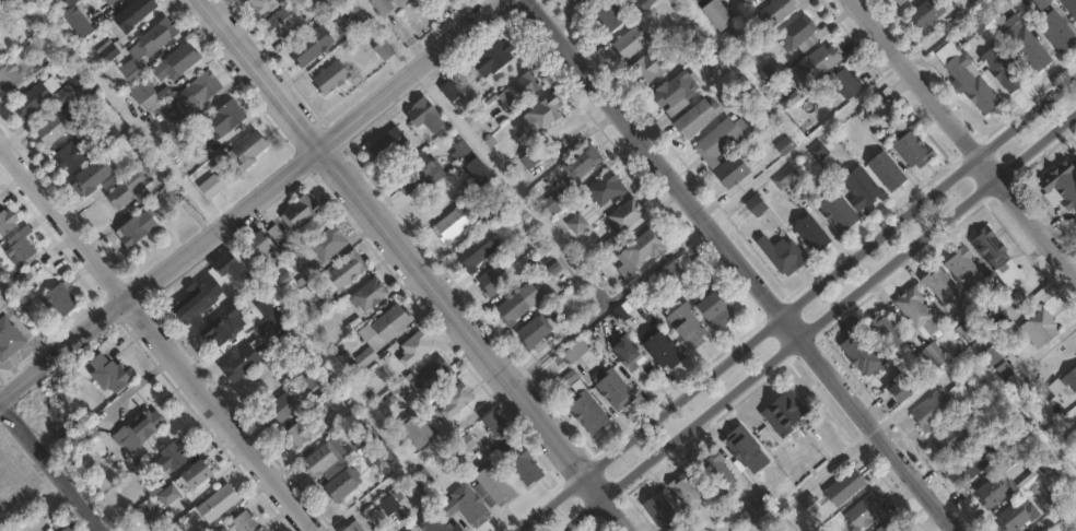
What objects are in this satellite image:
building: (0, 0)
building: (110, 1)
building: (414, 1)
building: (694, 1)
building: (746, 1)
building: (581, 2)
building: (897, 2)
building: (643, 3)
building: (962, 3)
building: (1040, 3)
building: (265, 5)
building: (384, 7)
building: (1069, 8)
building: (773, 12)
building: (924, 13)
building: (15, 14)
building: (131, 15)
building: (712, 15)
building: (606, 16)
building: (78, 20)
building: (286, 20)
building: (736, 31)
building: (1052, 31)
building: (794, 33)
road: (387, 34)
building: (961, 35)
building: (627, 44)
building: (1022, 45)
building: (149, 46)
building: (314, 47)
building: (0, 50)
building: (107, 50)
building: (386, 50)
building: (494, 57)
building: (179, 62)
building: (810, 67)
building: (999, 67)
building: (646, 68)
building: (771, 71)
building: (11, 75)
road: (914, 76)
building: (964, 76)
building: (334, 78)
building: (841, 84)
building: (70, 85)
building: (204, 86)
building: (452, 90)
building: (672, 92)
building: (149, 94)
building: (510, 95)
building: (33, 99)
building: (875, 106)
building: (428, 114)
building: (543, 114)
road: (1027, 114)
building: (226, 116)
building: (692, 119)
building: (180, 121)
building: (54, 126)
building: (717, 140)
building: (908, 144)
building: (390, 145)
building: (782, 145)
building: (249, 147)
building: (461, 147)
road: (1037, 147)
building: (817, 152)
building: (73, 153)
building: (582, 162)
building: (150, 165)
road: (987, 166)
building: (481, 169)
building: (884, 169)
building: (419, 172)
building: (727, 173)
building: (92, 175)
building: (783, 178)
building: (1059, 185)
building: (858, 187)
building: (127, 188)
road: (510, 188)
building: (608, 188)
building: (552, 200)
road: (248, 202)
building: (753, 205)
building: (490, 206)
building: (835, 209)
building: (302, 212)
building: (629, 214)
building: (583, 219)
building: (8, 224)
building: (453, 225)
building: (139, 226)
road: (1037, 226)
building: (809, 233)
road: (394, 236)
building: (266, 239)
building: (611, 244)
building: (324, 245)
building: (23, 246)
building: (480, 248)
building: (643, 249)
building: (780, 253)
building: (994, 256)
building: (530, 261)
building: (232, 265)
road: (739, 265)
building: (346, 270)
building: (962, 270)
building: (675, 272)
building: (494, 279)
building: (940, 287)
building: (371, 294)
building: (62, 300)
building: (198, 303)
building: (519, 303)
building: (913, 309)
building: (718, 310)
building: (623, 311)
building: (272, 312)
road: (780, 314)
building: (394, 321)
building: (226, 323)
building: (688, 323)
building: (1039, 326)
building: (882, 331)
building: (536, 333)
road: (799, 338)
building: (10, 339)
road: (157, 339)
building: (417, 347)
building: (663, 347)
building: (576, 350)
building: (935, 353)
building: (631, 354)
building: (366, 355)
building: (859, 355)
building: (246, 359)
building: (925, 361)
building: (377, 367)
building: (113, 375)
building: (432, 375)
road: (516, 375)
building: (1069, 379)
building: (312, 381)
building: (1010, 382)
building: (615, 387)
building: (896, 387)
building: (976, 388)
building: (454, 402)
building: (284, 405)
building: (589, 409)
building: (928, 410)
building: (781, 412)
building: (499, 423)
building: (143, 430)
building: (419, 430)
building: (301, 434)
building: (948, 439)
building: (469, 440)
building: (742, 449)
building: (1019, 449)
building: (387, 452)
building: (174, 459)
building: (328, 459)
road: (52, 460)
building: (971, 461)
building: (524, 463)
building: (715, 471)
building: (198, 476)
road: (812, 481)
building: (1028, 481)
building: (496, 482)
building: (344, 483)
road: (593, 485)
building: (842, 486)
building: (682, 489)
building: (992, 491)
building: (221, 501)
road: (547, 503)
building: (389, 504)
building: (471, 504)
building: (862, 509)
building: (657, 510)
building: (148, 511)
building: (751, 511)
road: (581, 514)
road: (616, 514)
building: (1014, 515)
road: (1055, 515)
building: (246, 521)
building: (440, 522)
building: (355, 526)
building: (886, 527)
building: (412, 529)
building: (65, 530)

